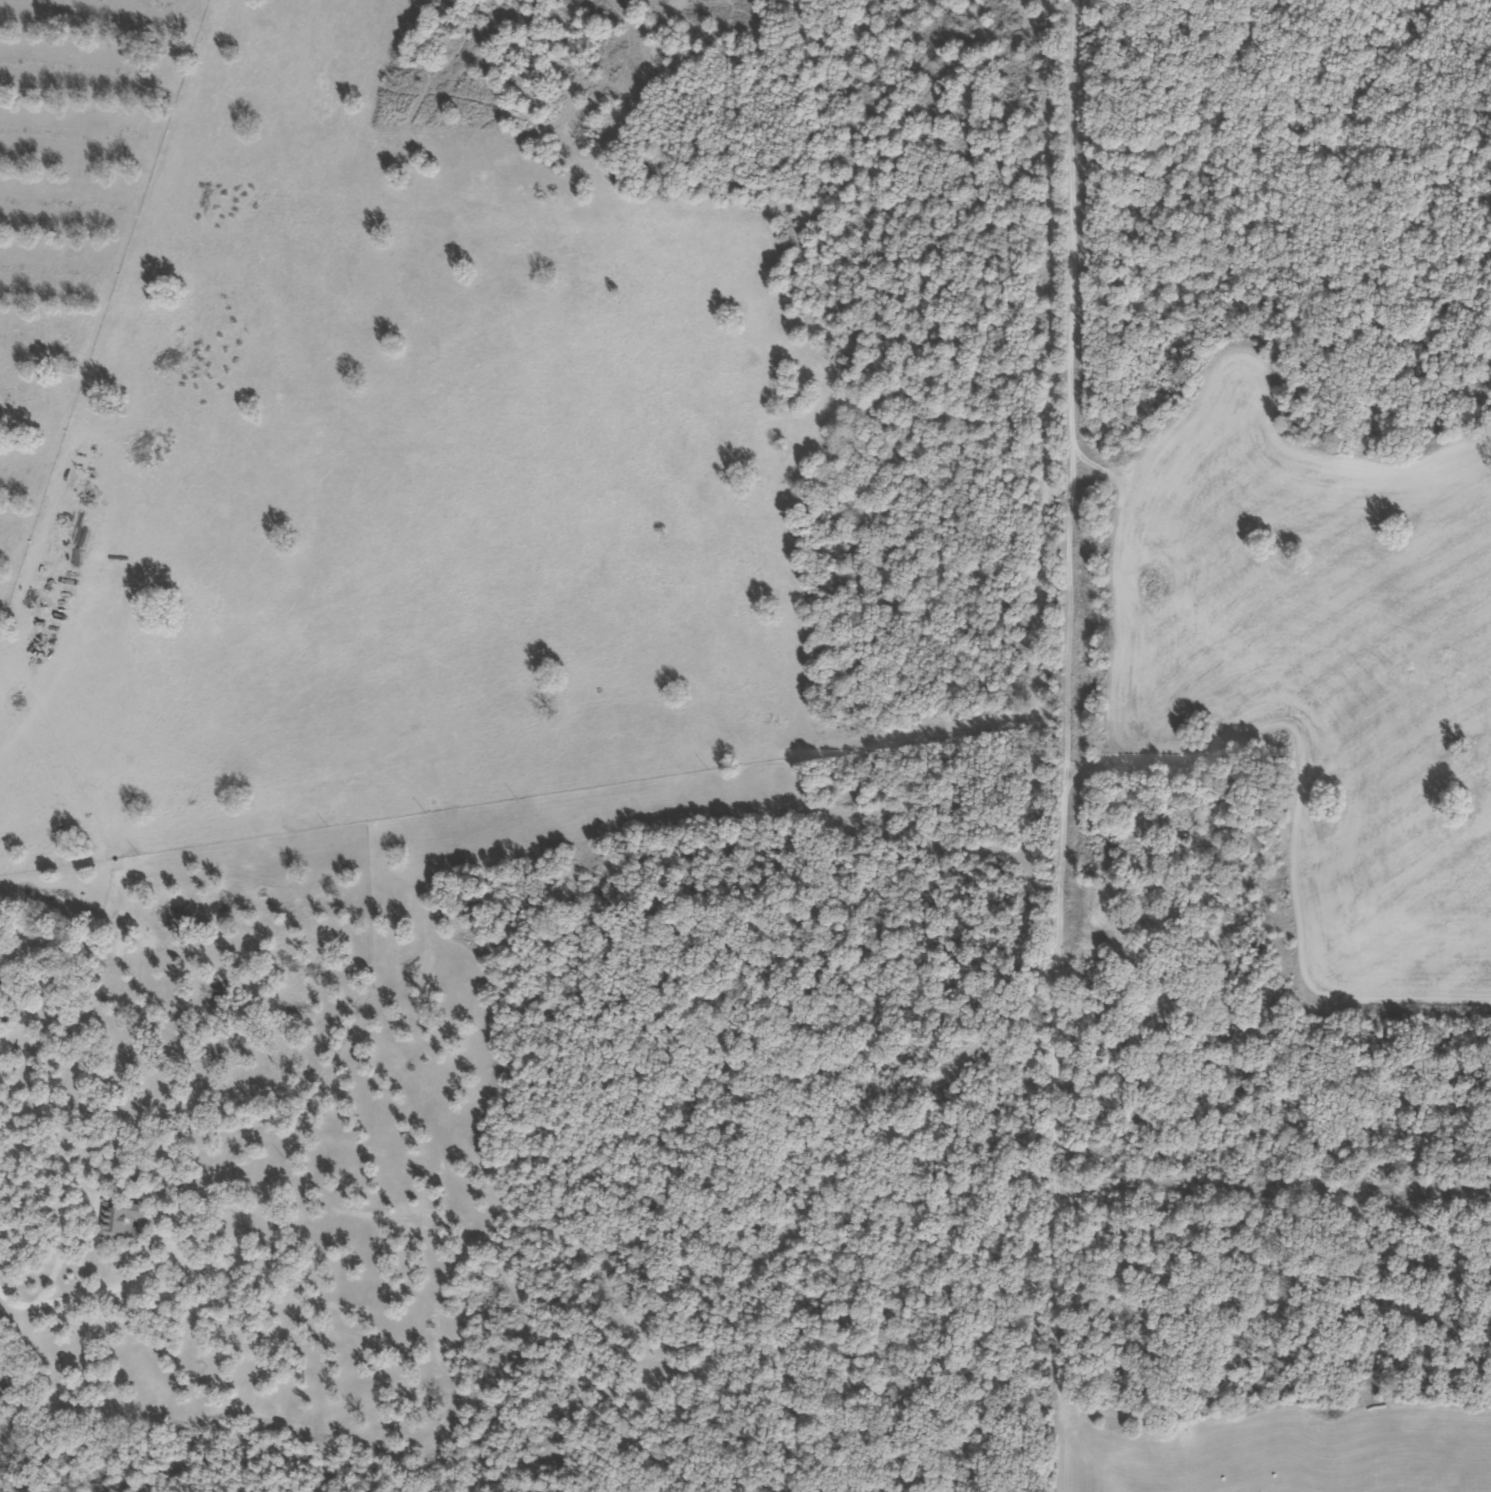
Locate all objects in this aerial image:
building: (122, 1218)

